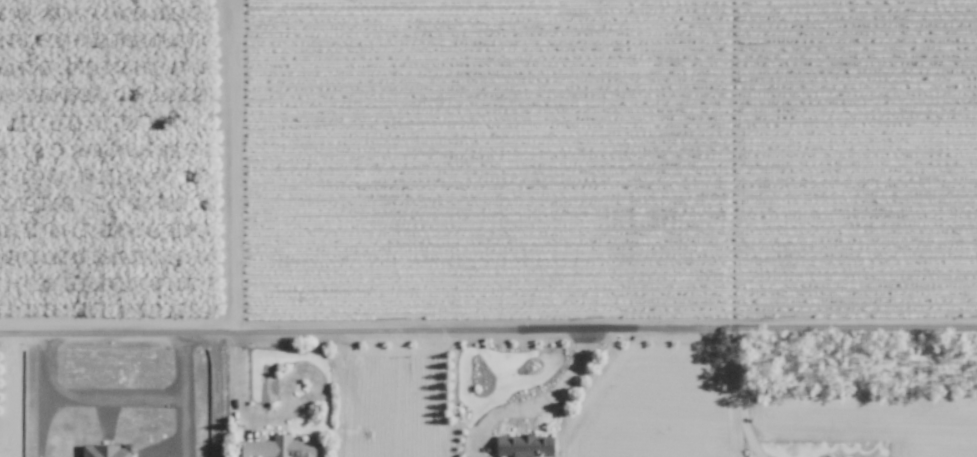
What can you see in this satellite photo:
crop: (117, 160)
road: (237, 168)
road: (488, 336)
road: (238, 393)
road: (215, 396)
road: (3, 397)
road: (547, 398)
road: (741, 400)
road: (117, 403)
crop: (475, 406)
building: (524, 446)
building: (279, 447)
building: (109, 450)

